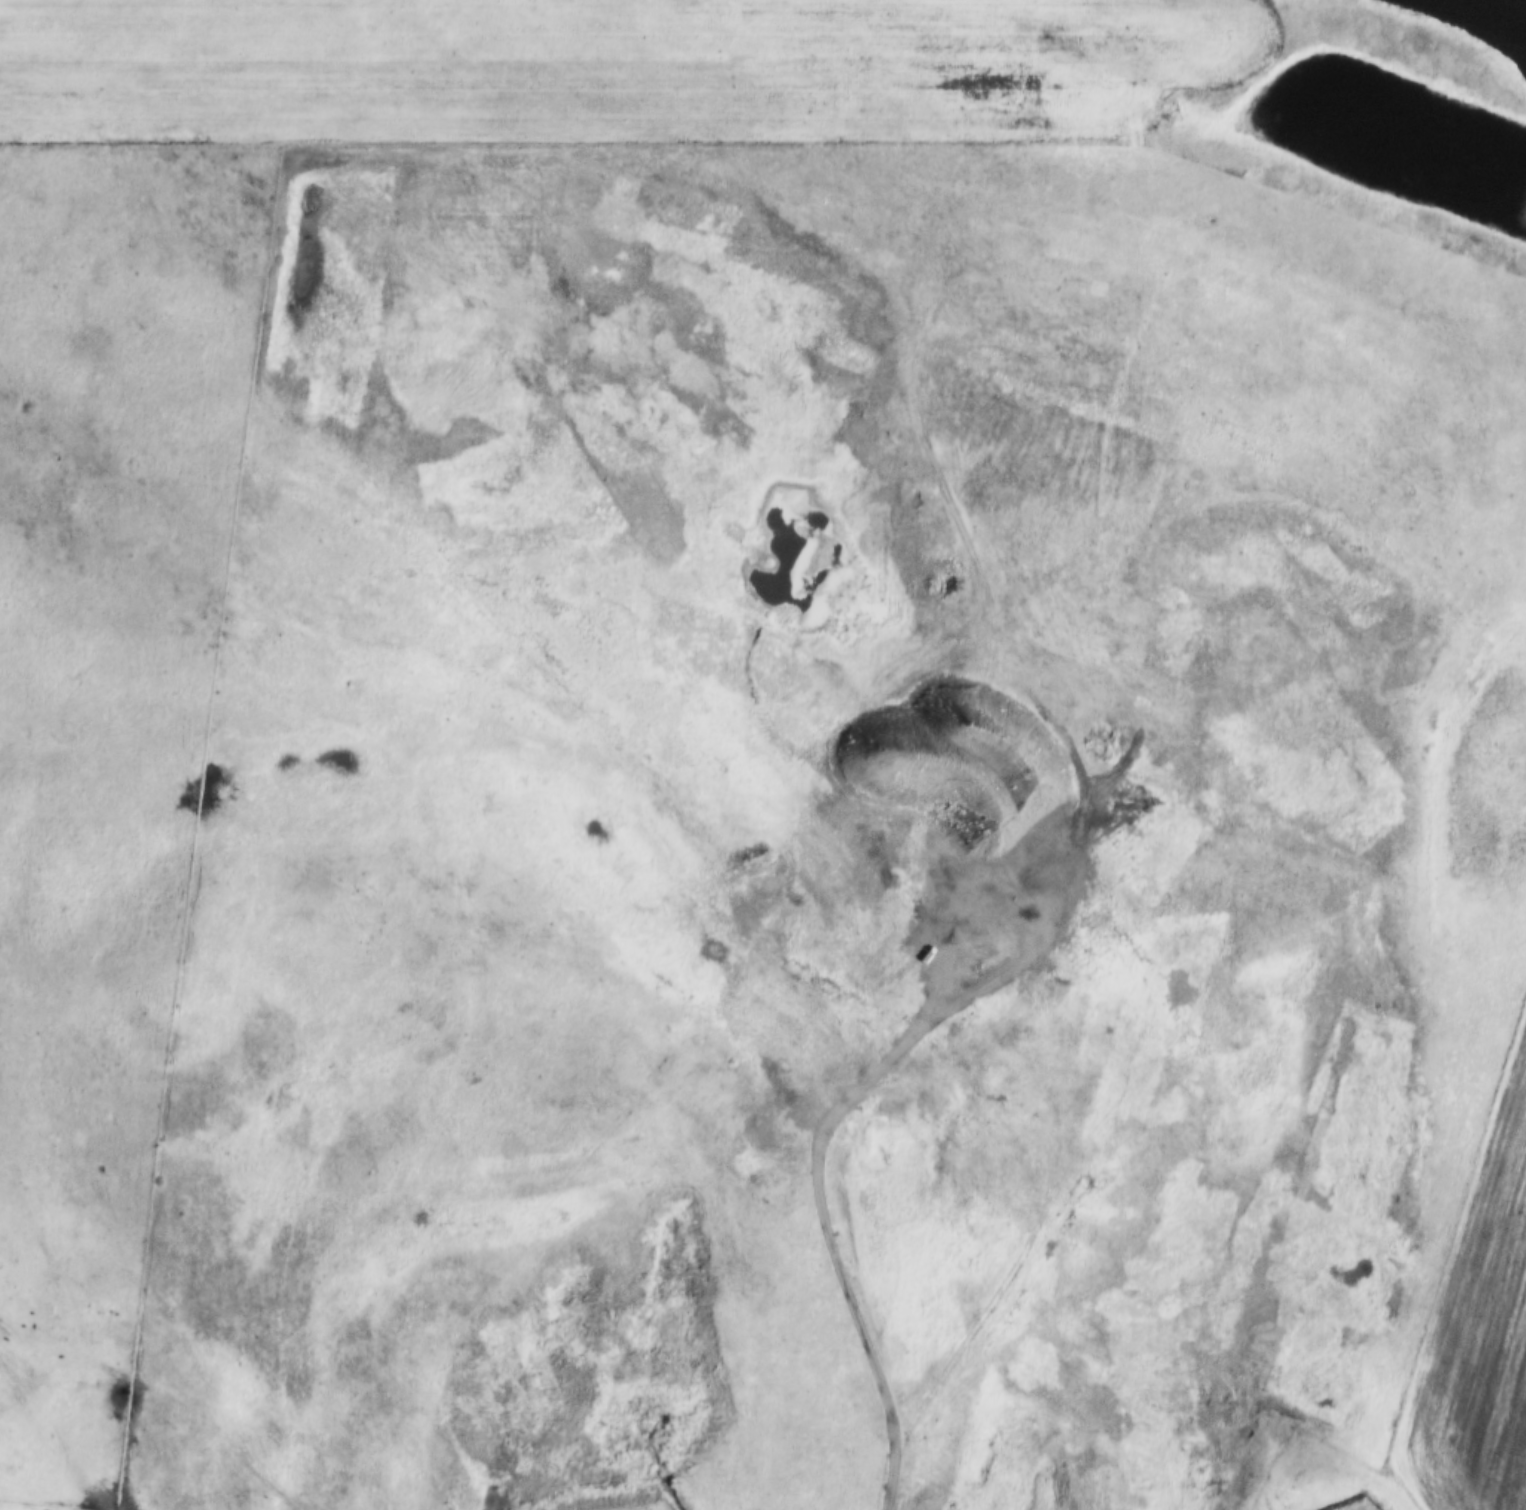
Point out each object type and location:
river: (1507, 11)
road: (925, 910)
road: (64, 1288)

